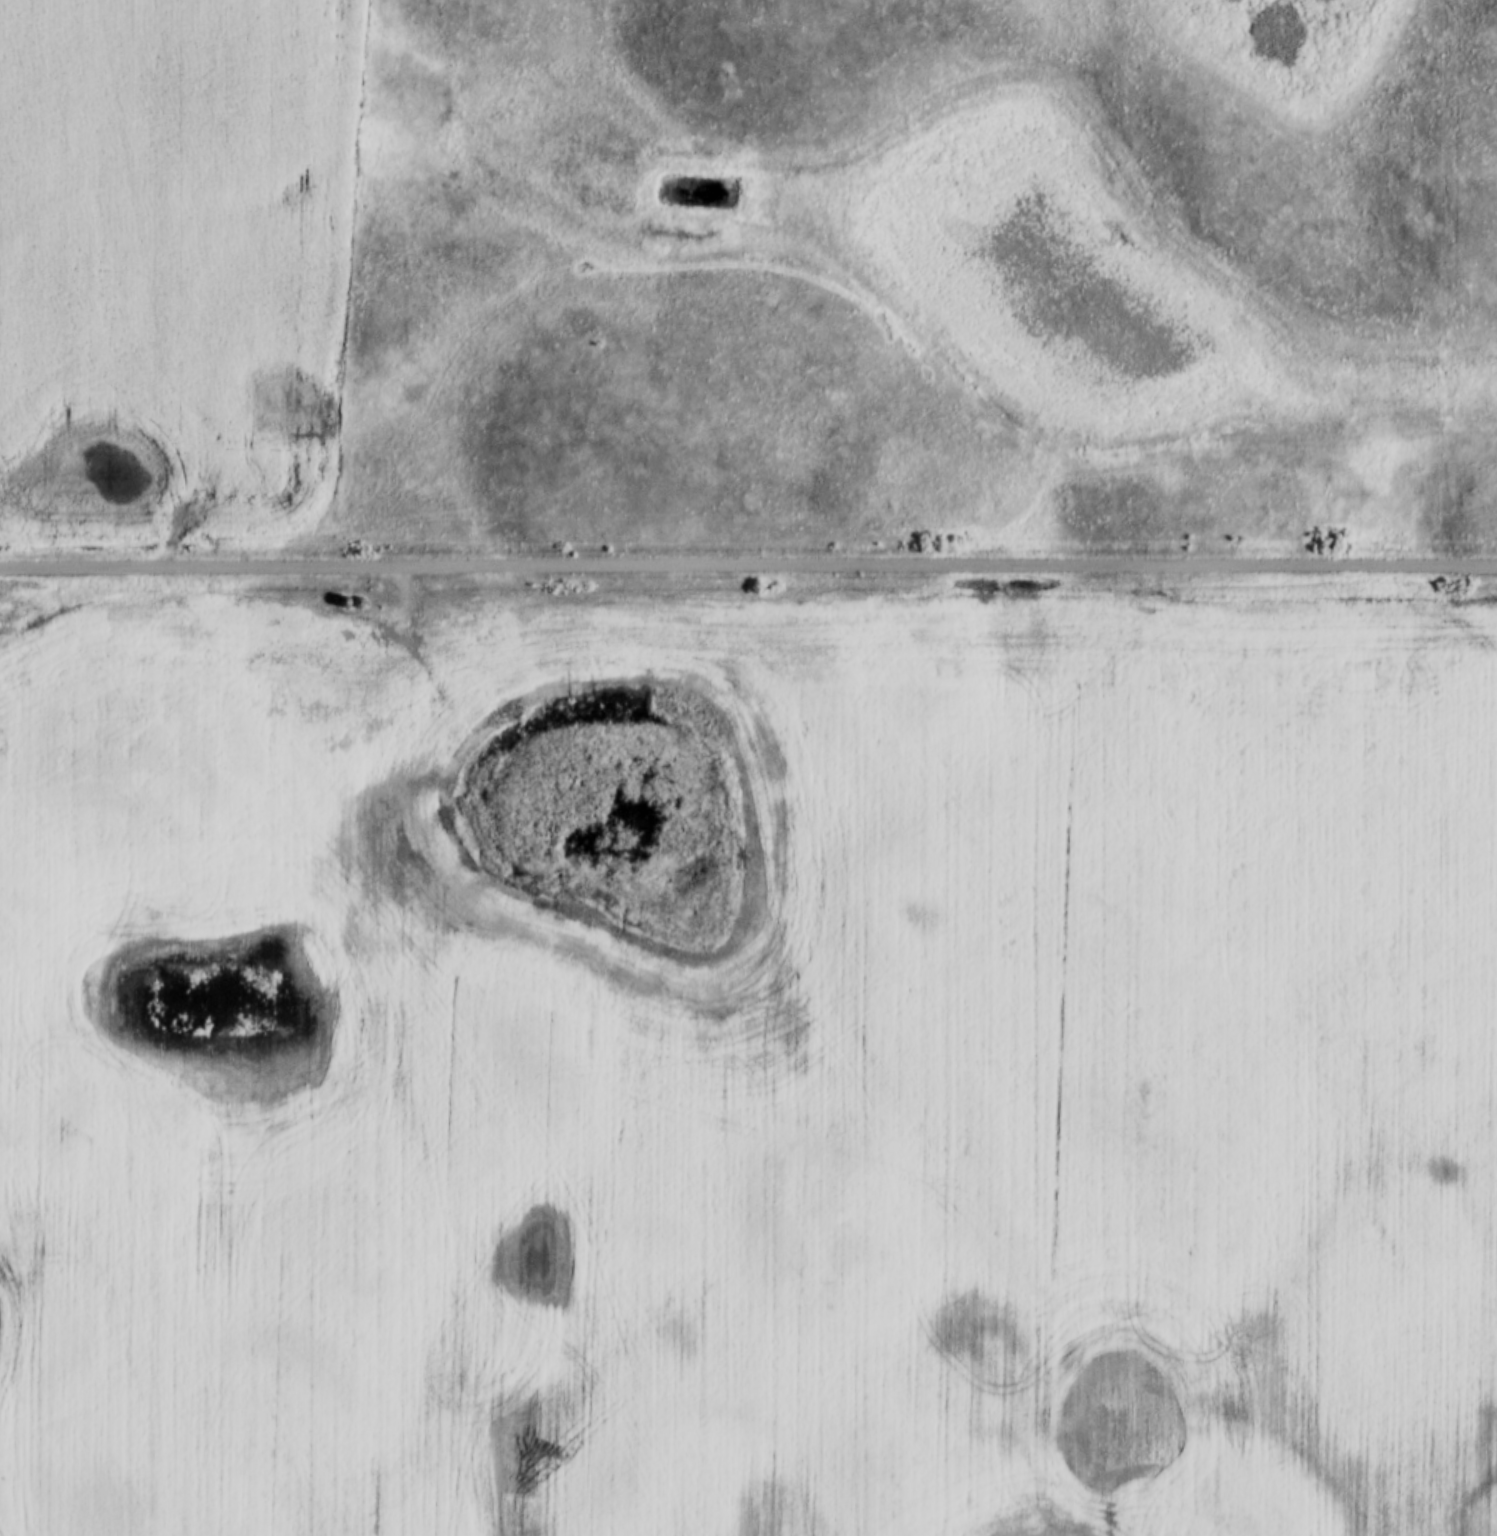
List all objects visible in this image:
road: (748, 565)

